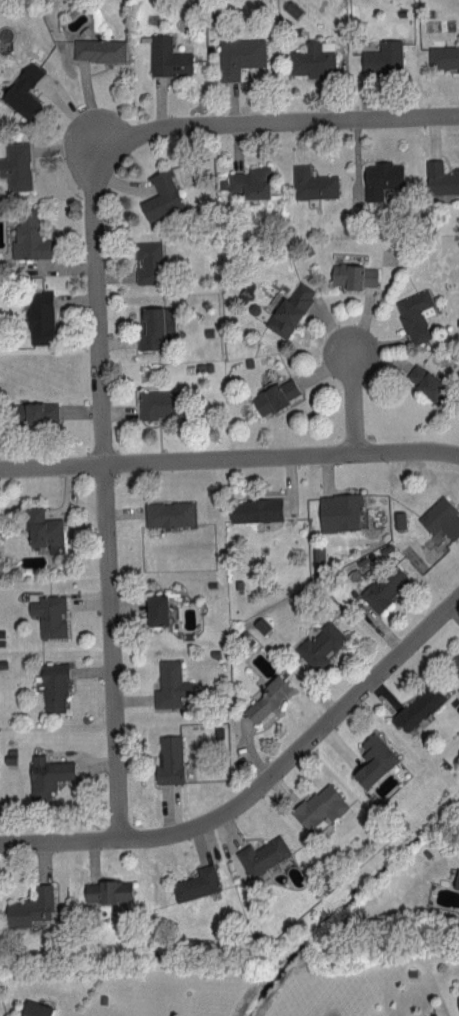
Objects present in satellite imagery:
building: (98, 49)
building: (240, 55)
building: (383, 55)
building: (168, 56)
building: (444, 56)
building: (314, 58)
building: (23, 90)
road: (275, 121)
building: (16, 165)
building: (381, 177)
building: (441, 177)
building: (251, 181)
building: (313, 182)
building: (162, 195)
building: (28, 235)
building: (148, 261)
building: (354, 275)
building: (290, 309)
building: (415, 314)
building: (40, 316)
building: (155, 325)
building: (426, 381)
road: (356, 395)
building: (274, 396)
building: (159, 403)
building: (35, 412)
road: (229, 453)
road: (105, 497)
building: (255, 509)
building: (339, 511)
building: (168, 513)
building: (441, 517)
building: (43, 527)
building: (385, 586)
building: (157, 608)
building: (50, 614)
building: (321, 644)
building: (455, 662)
building: (170, 684)
building: (54, 686)
building: (267, 699)
building: (418, 707)
building: (170, 759)
building: (374, 759)
building: (47, 774)
road: (259, 782)
building: (320, 805)
building: (263, 854)
building: (457, 879)
building: (196, 883)
building: (108, 891)
building: (30, 907)
building: (458, 999)
building: (36, 1009)
building: (433, 1014)

